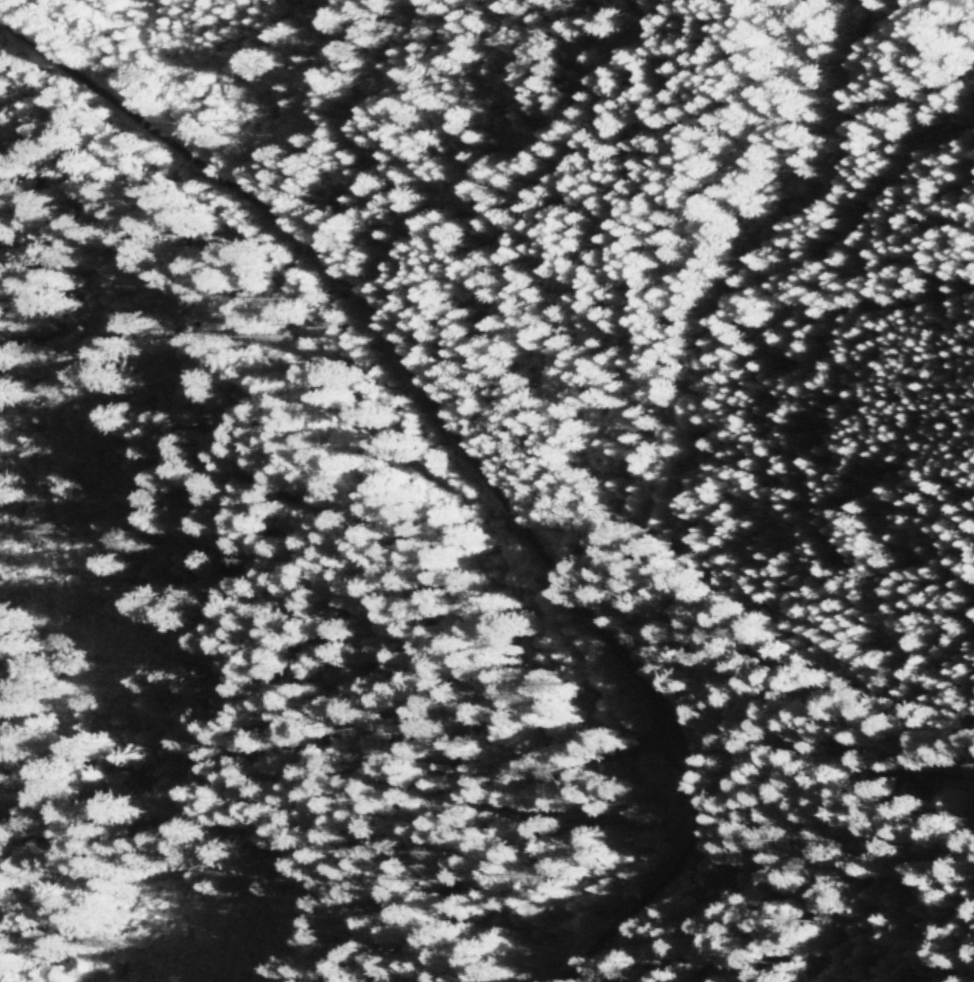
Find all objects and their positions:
road: (458, 462)

